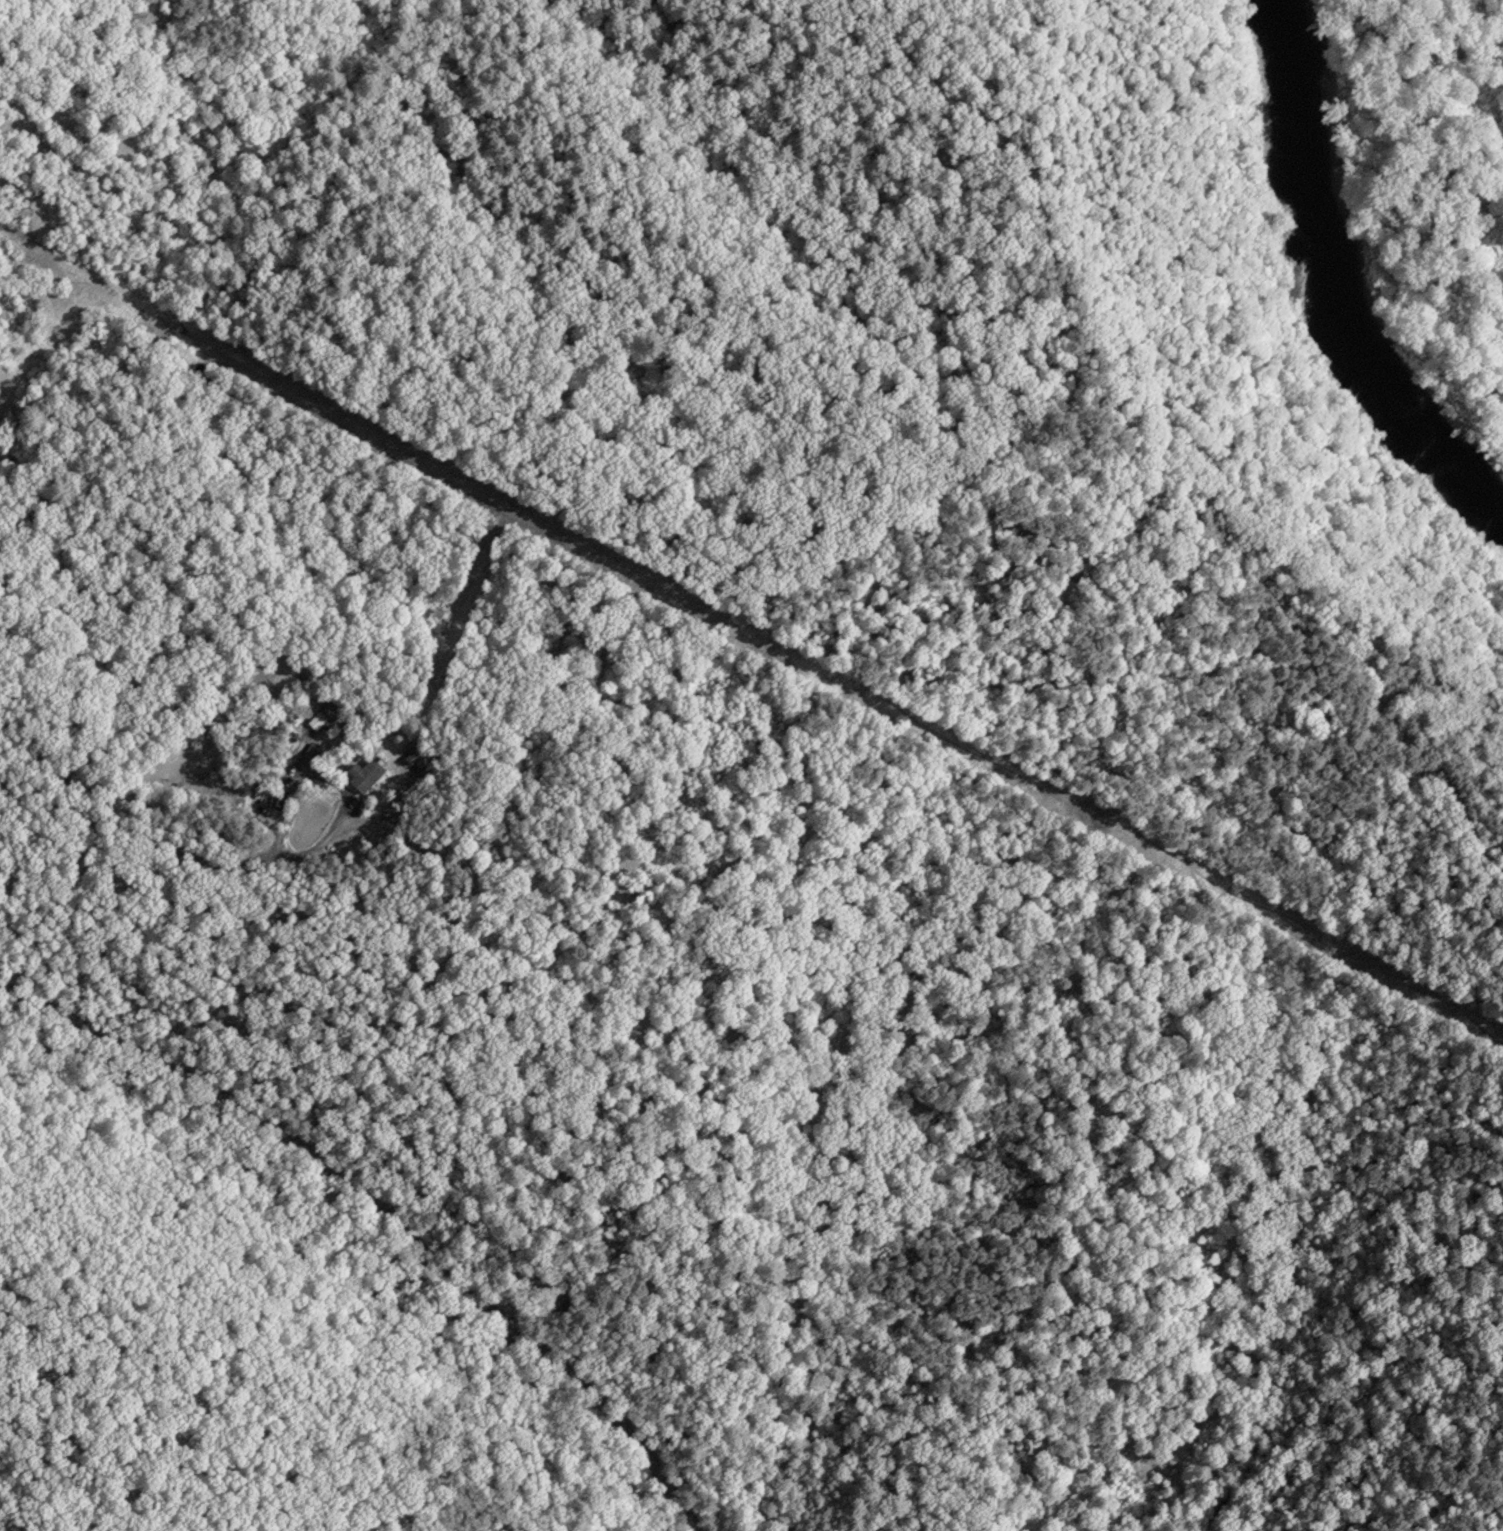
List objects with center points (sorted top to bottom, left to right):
river: (1377, 263)
building: (322, 714)
building: (364, 774)
road: (399, 1195)

